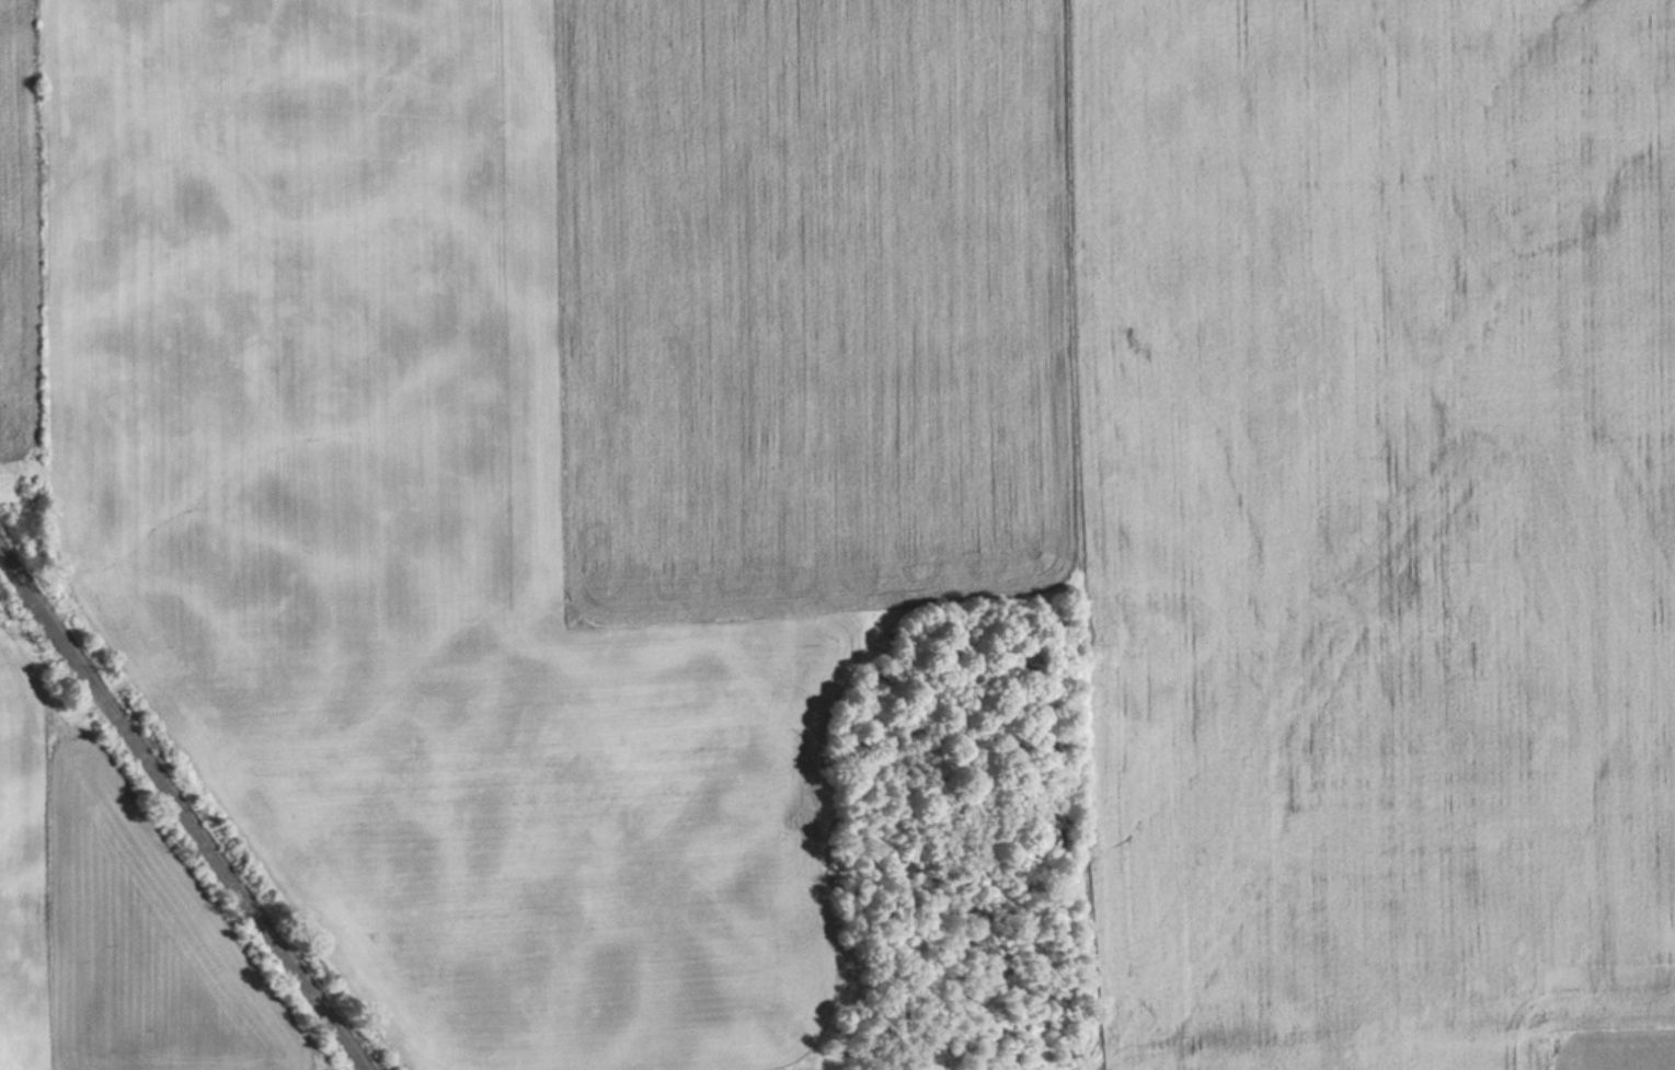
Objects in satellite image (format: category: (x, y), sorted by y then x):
railway: (183, 807)

